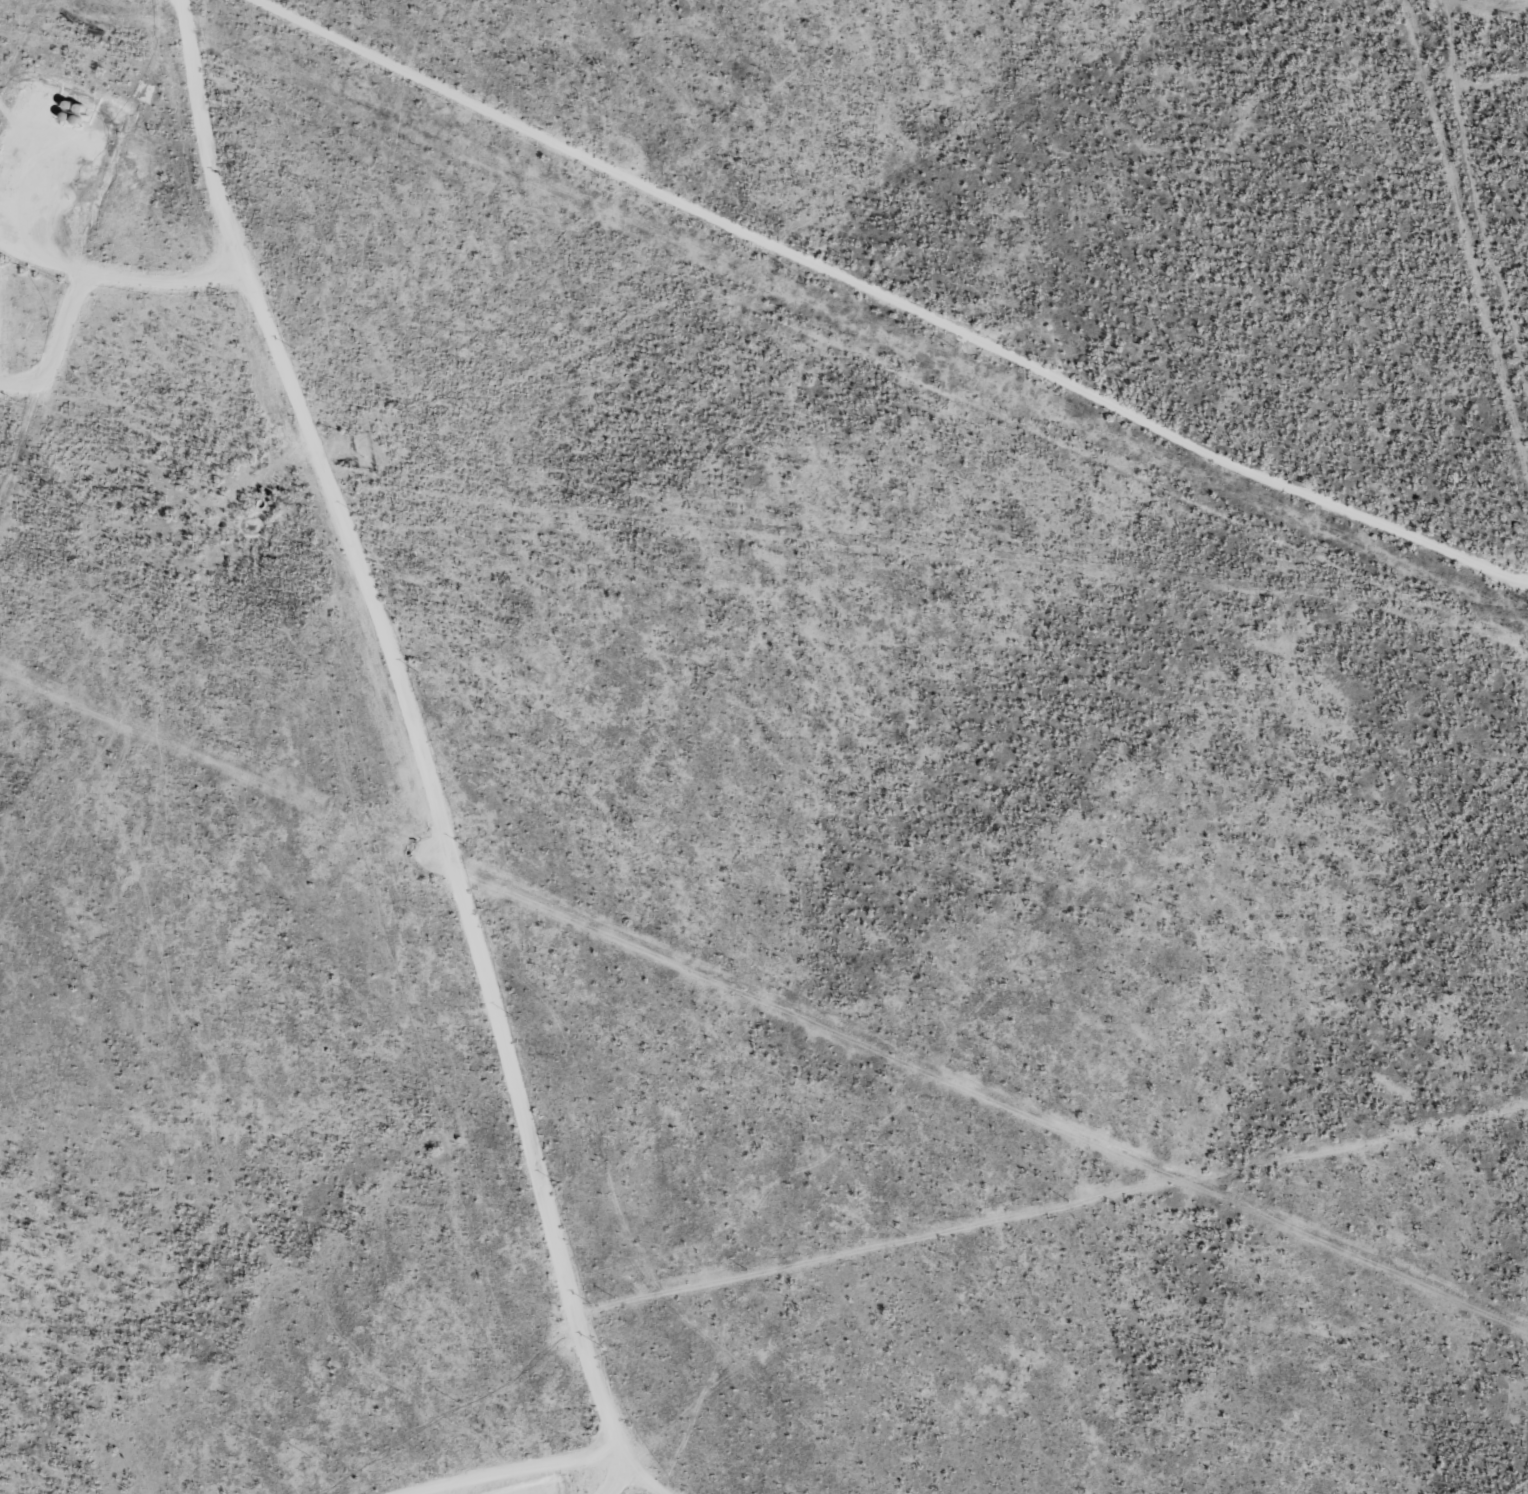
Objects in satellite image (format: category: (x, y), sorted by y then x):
road: (222, 226)

